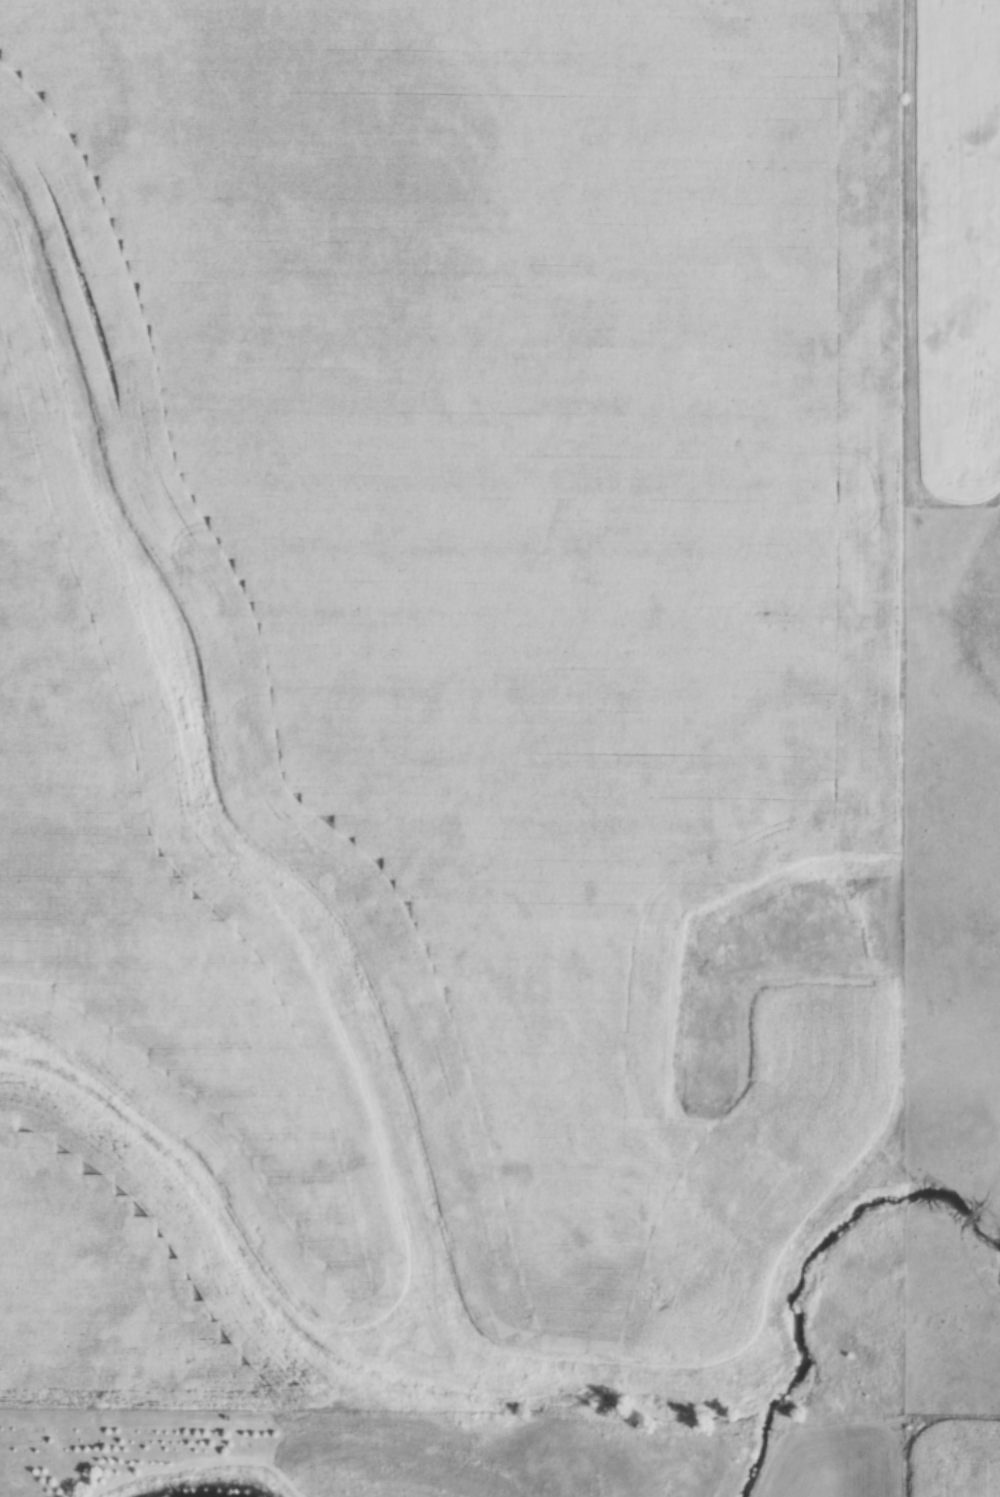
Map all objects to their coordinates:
crop: (961, 1462)

